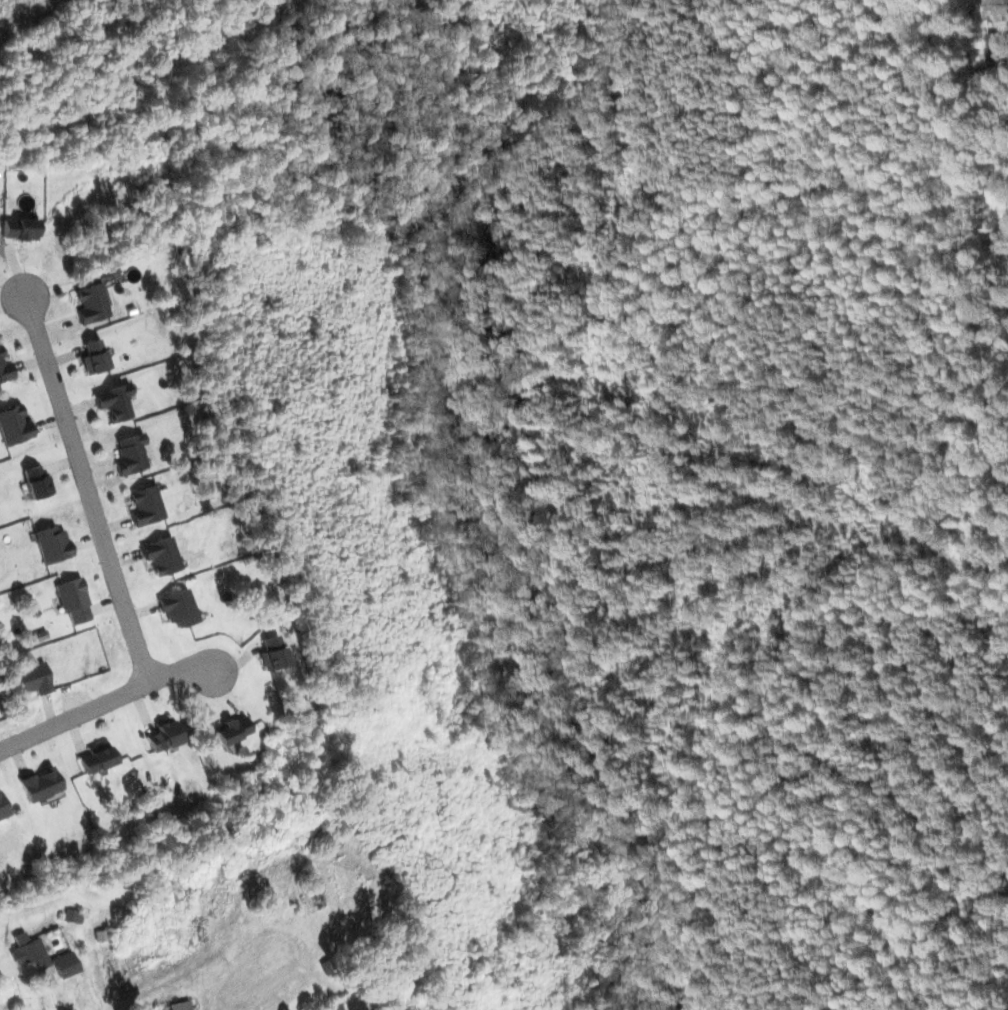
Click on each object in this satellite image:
building: (19, 230)
building: (89, 303)
building: (92, 357)
building: (5, 370)
building: (113, 402)
building: (13, 426)
building: (129, 454)
building: (35, 483)
road: (90, 488)
building: (145, 505)
building: (51, 544)
building: (162, 555)
building: (72, 600)
building: (179, 608)
building: (273, 653)
building: (30, 680)
road: (106, 704)
building: (232, 730)
building: (165, 736)
building: (99, 758)
building: (41, 785)
building: (3, 808)
building: (76, 917)
building: (29, 951)
building: (65, 964)
building: (179, 1005)

